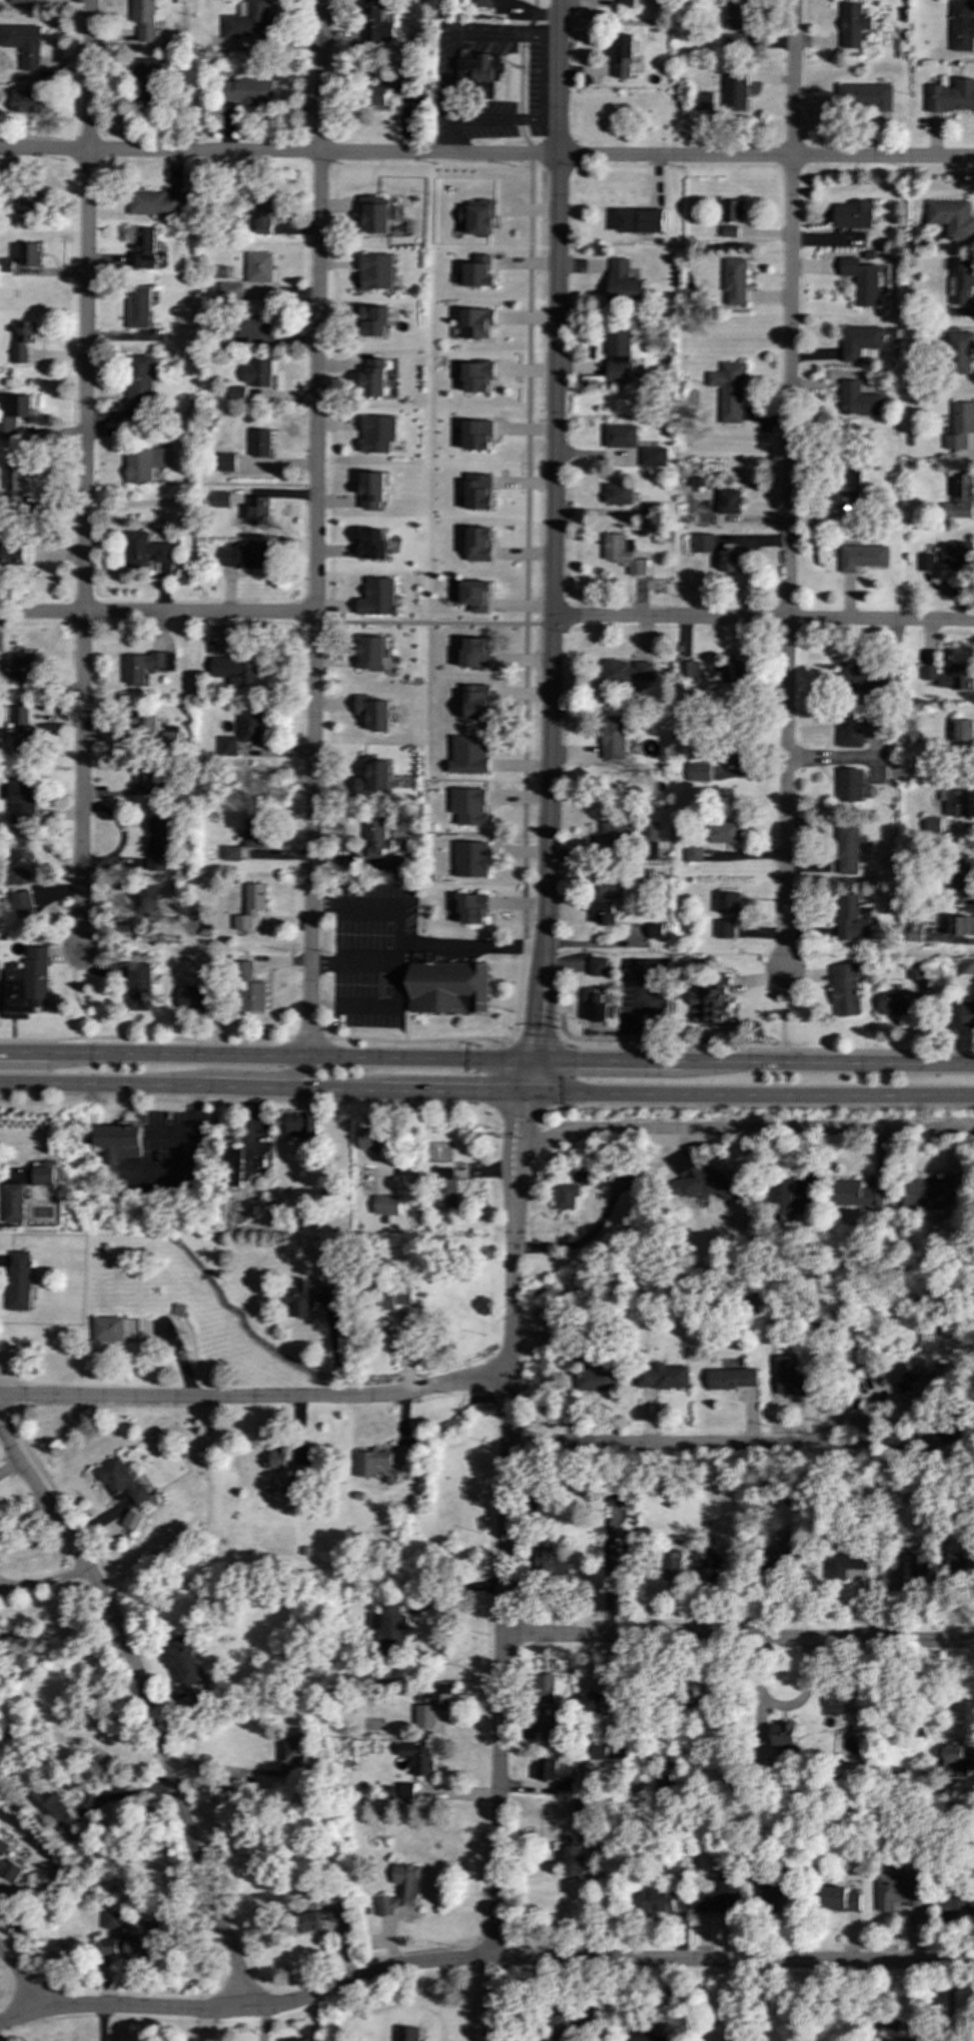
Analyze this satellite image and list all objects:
building: (22, 1)
building: (481, 4)
building: (626, 4)
building: (736, 15)
building: (144, 21)
building: (247, 22)
building: (375, 23)
building: (853, 25)
building: (962, 26)
building: (731, 43)
building: (23, 44)
building: (622, 57)
building: (148, 69)
building: (478, 72)
road: (449, 77)
building: (403, 87)
building: (248, 91)
building: (735, 92)
building: (376, 95)
building: (952, 96)
building: (866, 99)
building: (27, 101)
road: (450, 136)
road: (486, 155)
building: (30, 202)
building: (155, 203)
building: (732, 210)
building: (853, 214)
building: (260, 215)
building: (377, 215)
building: (952, 218)
building: (640, 221)
building: (144, 248)
building: (30, 254)
building: (259, 267)
building: (375, 271)
building: (478, 272)
building: (734, 280)
building: (861, 280)
building: (623, 282)
building: (961, 284)
building: (230, 291)
building: (139, 306)
road: (317, 307)
road: (555, 307)
building: (374, 320)
building: (476, 323)
building: (252, 325)
building: (23, 339)
building: (618, 342)
building: (860, 342)
building: (959, 352)
building: (617, 372)
building: (256, 373)
building: (477, 376)
building: (140, 379)
building: (373, 379)
building: (729, 391)
building: (237, 394)
building: (859, 400)
building: (11, 413)
building: (960, 425)
building: (377, 433)
building: (477, 435)
building: (620, 436)
building: (259, 442)
building: (653, 456)
building: (226, 461)
building: (143, 463)
road: (84, 473)
building: (14, 485)
road: (788, 489)
building: (371, 490)
building: (853, 490)
building: (479, 491)
building: (618, 494)
building: (959, 497)
building: (220, 499)
building: (729, 501)
building: (650, 509)
building: (258, 510)
road: (526, 516)
building: (703, 543)
building: (371, 544)
building: (479, 544)
building: (146, 549)
building: (622, 553)
building: (957, 555)
building: (14, 556)
building: (244, 556)
building: (862, 557)
building: (730, 559)
building: (925, 561)
building: (475, 595)
building: (377, 597)
road: (157, 613)
road: (762, 619)
road: (433, 623)
building: (371, 652)
building: (475, 653)
building: (146, 664)
building: (235, 669)
building: (690, 669)
building: (627, 670)
building: (20, 671)
building: (717, 672)
building: (929, 672)
building: (730, 673)
building: (858, 677)
building: (957, 677)
building: (482, 699)
building: (374, 712)
building: (250, 726)
building: (22, 730)
building: (156, 730)
building: (850, 730)
building: (962, 732)
building: (613, 737)
building: (228, 746)
building: (469, 754)
building: (734, 756)
building: (698, 772)
building: (145, 774)
building: (374, 778)
building: (850, 784)
building: (21, 801)
building: (955, 802)
building: (470, 806)
building: (932, 826)
building: (651, 831)
building: (722, 831)
building: (253, 832)
building: (618, 833)
road: (311, 836)
building: (374, 838)
road: (546, 839)
building: (156, 843)
building: (849, 848)
building: (231, 853)
building: (693, 853)
building: (472, 859)
building: (395, 864)
building: (957, 878)
building: (609, 886)
building: (20, 901)
building: (727, 901)
building: (250, 906)
building: (473, 909)
building: (145, 911)
building: (605, 912)
building: (851, 919)
building: (958, 925)
building: (724, 928)
building: (654, 930)
building: (914, 931)
road: (408, 943)
road: (598, 943)
road: (397, 953)
building: (597, 966)
building: (967, 966)
road: (396, 971)
building: (916, 972)
building: (25, 981)
building: (138, 986)
building: (446, 986)
building: (249, 989)
building: (845, 989)
road: (73, 993)
building: (193, 996)
building: (895, 1003)
building: (595, 1004)
road: (784, 1013)
building: (968, 1015)
road: (256, 1040)
road: (534, 1040)
road: (764, 1049)
road: (22, 1054)
road: (287, 1056)
road: (603, 1061)
road: (825, 1061)
road: (252, 1074)
road: (481, 1074)
road: (527, 1076)
road: (190, 1084)
road: (451, 1088)
road: (748, 1092)
road: (240, 1102)
building: (300, 1124)
road: (746, 1131)
building: (369, 1139)
building: (117, 1143)
road: (506, 1159)
road: (520, 1160)
building: (231, 1165)
building: (43, 1176)
building: (700, 1180)
building: (445, 1187)
building: (570, 1191)
building: (930, 1192)
building: (855, 1194)
building: (786, 1198)
building: (12, 1203)
building: (385, 1205)
road: (579, 1242)
building: (18, 1280)
building: (307, 1298)
building: (390, 1299)
building: (661, 1377)
building: (731, 1378)
building: (790, 1378)
building: (595, 1379)
road: (255, 1398)
road: (692, 1446)
building: (298, 1456)
building: (276, 1458)
building: (370, 1461)
building: (120, 1481)
building: (297, 1486)
building: (663, 1488)
building: (614, 1497)
building: (132, 1520)
building: (619, 1551)
building: (700, 1559)
building: (845, 1559)
building: (550, 1560)
building: (918, 1563)
building: (671, 1565)
building: (958, 1565)
road: (44, 1582)
building: (388, 1628)
road: (501, 1636)
road: (737, 1639)
building: (186, 1661)
building: (545, 1689)
building: (590, 1703)
building: (434, 1705)
road: (150, 1709)
building: (547, 1725)
building: (782, 1734)
building: (293, 1752)
building: (596, 1752)
building: (902, 1753)
building: (418, 1757)
building: (953, 1762)
road: (225, 1768)
building: (543, 1769)
building: (564, 1783)
building: (55, 1807)
building: (583, 1807)
building: (573, 1860)
building: (7, 1864)
building: (400, 1889)
building: (769, 1890)
building: (720, 1894)
building: (840, 1899)
building: (957, 1900)
building: (654, 1901)
building: (110, 1920)
building: (308, 1922)
building: (128, 1945)
road: (482, 1959)
road: (24, 1979)
building: (557, 2023)
road: (104, 2024)
building: (906, 2028)
road: (915, 2029)
building: (406, 2034)
building: (649, 2038)

